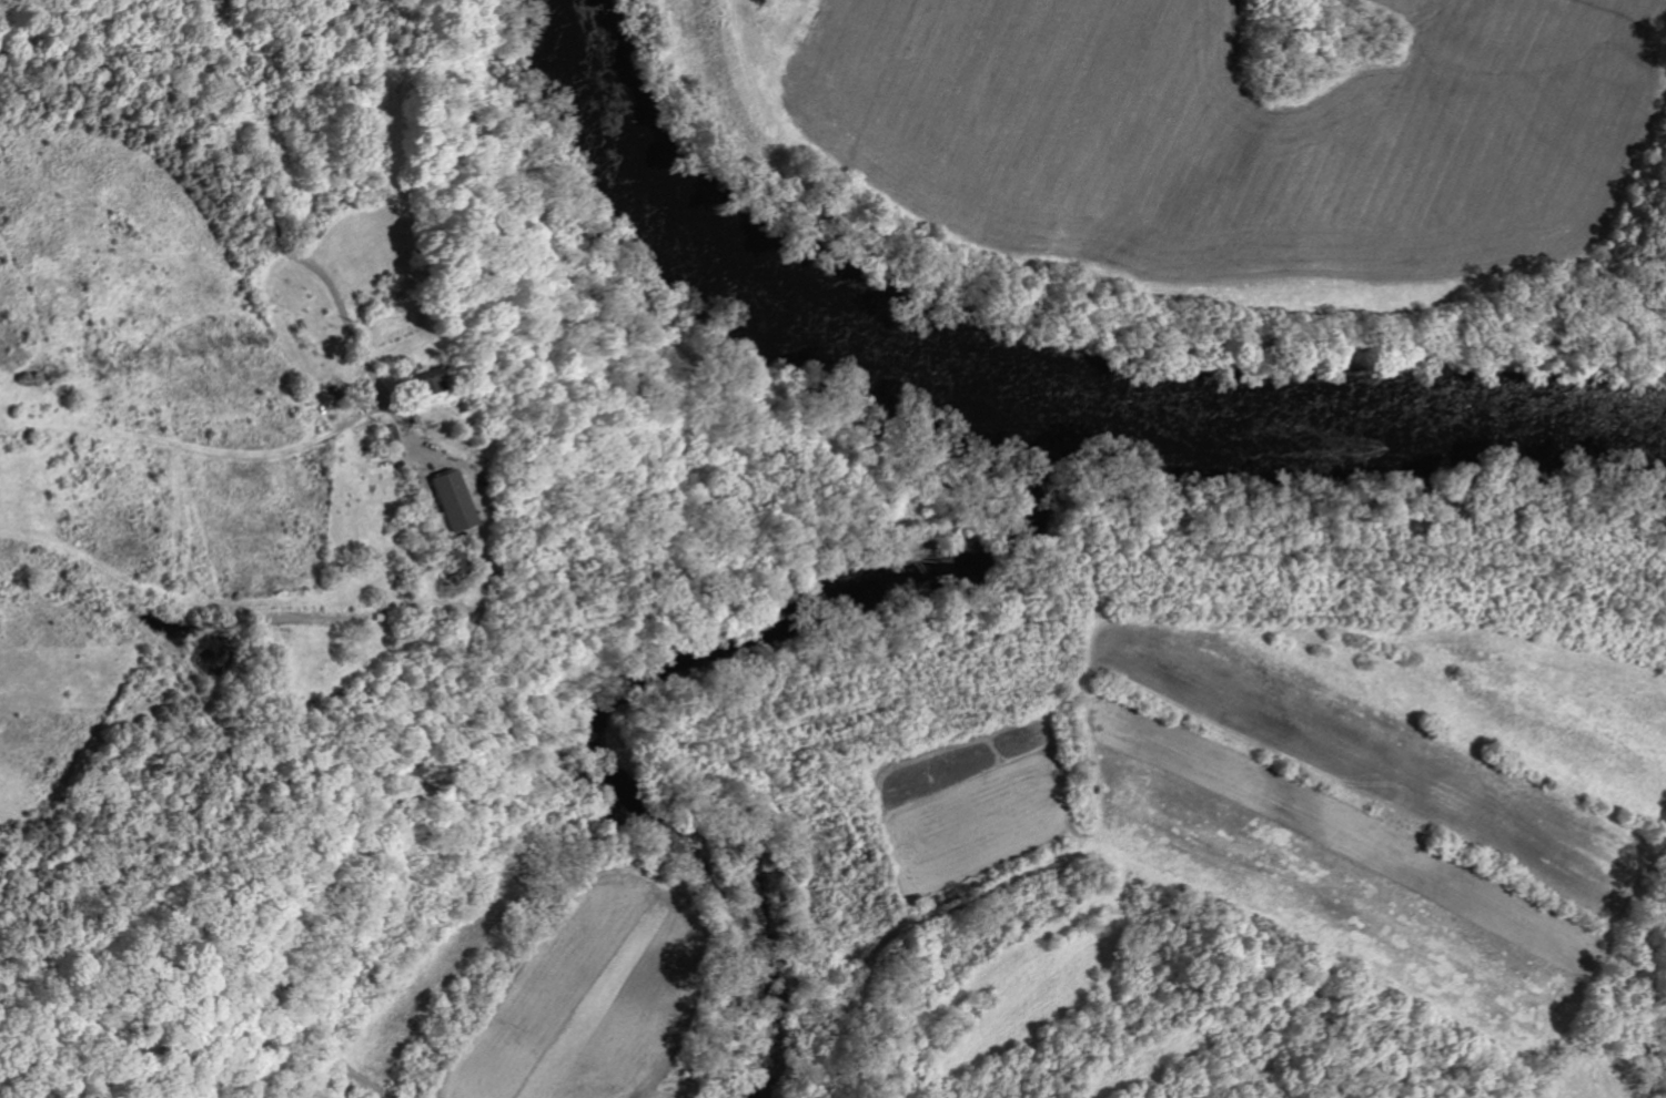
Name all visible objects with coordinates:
road: (251, 194)
river: (1020, 360)
building: (391, 435)
building: (453, 500)

